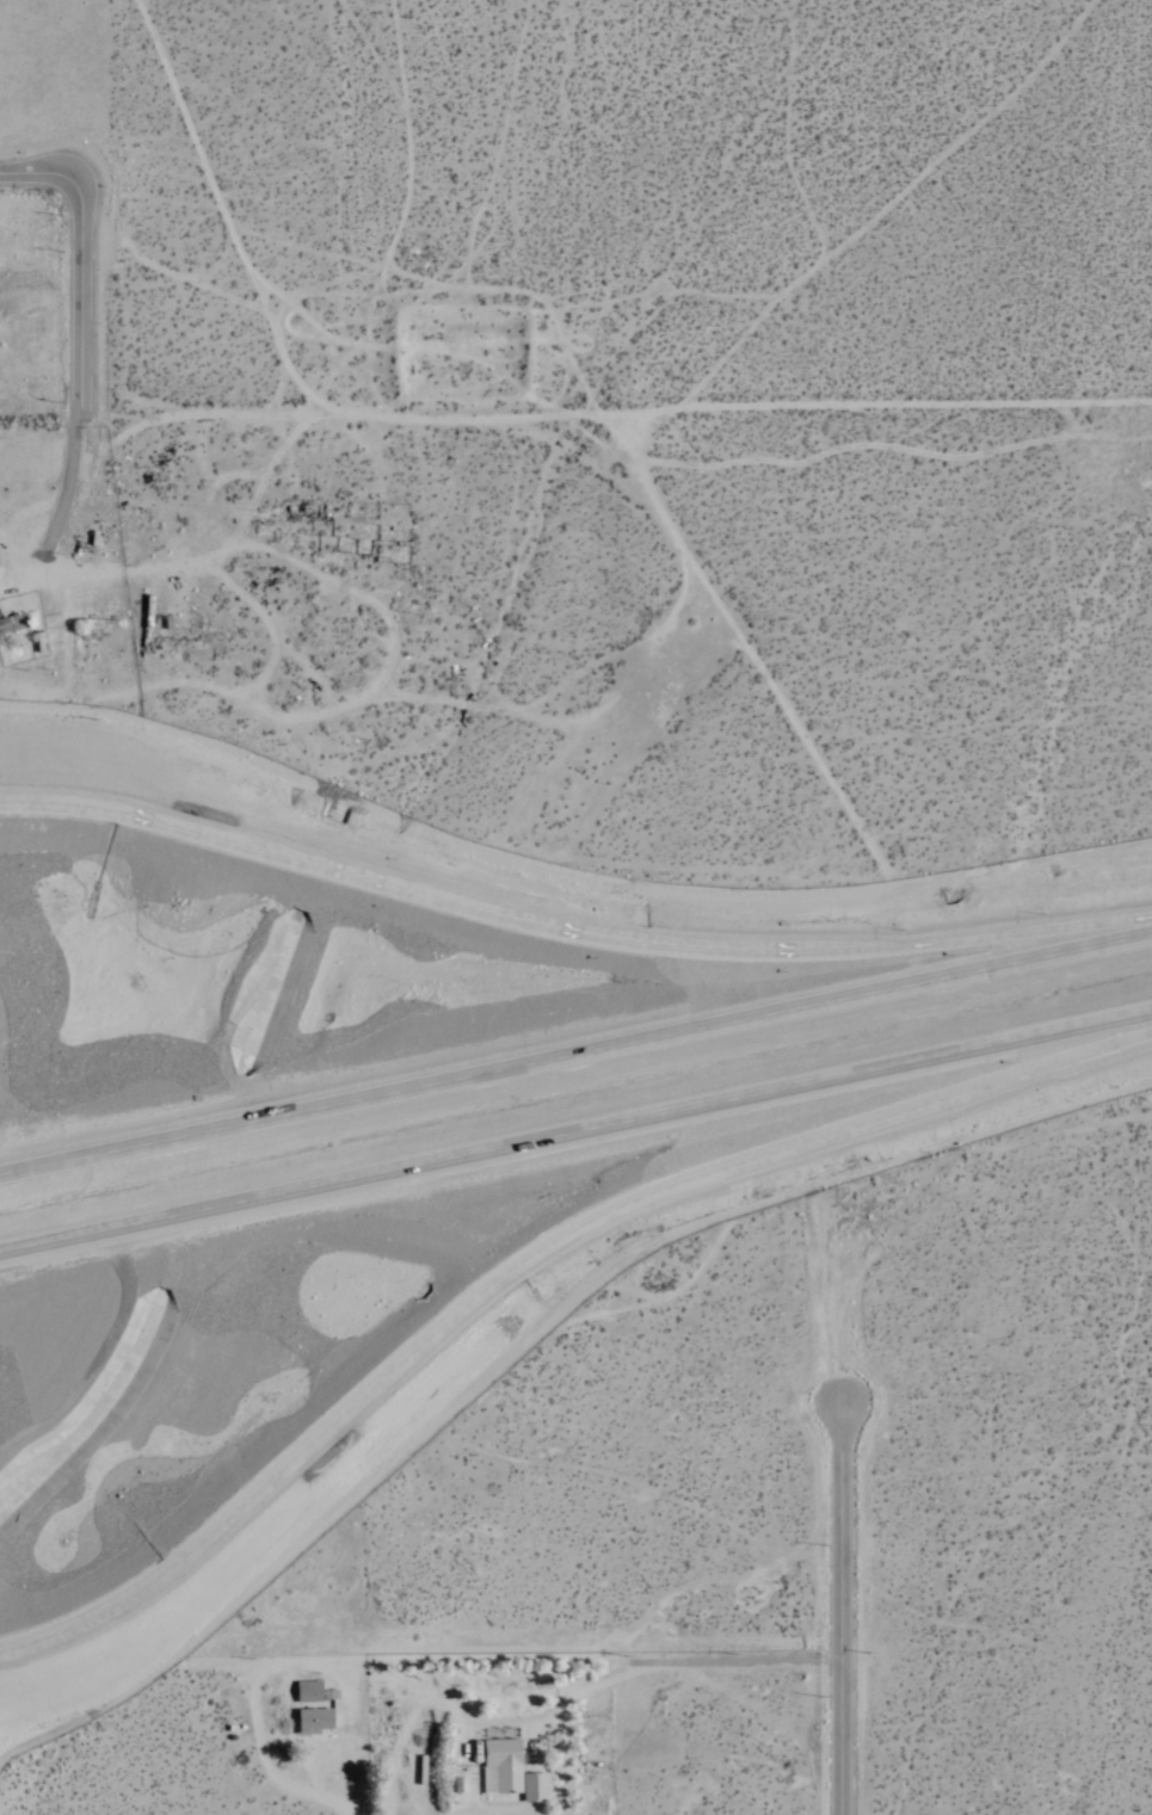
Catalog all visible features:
road: (38, 172)
road: (81, 290)
road: (69, 474)
building: (8, 625)
road: (569, 928)
road: (575, 1052)
road: (578, 1132)
road: (1, 1251)
road: (526, 1258)
road: (839, 1611)
road: (688, 1661)
building: (307, 1692)
building: (312, 1722)
building: (511, 1771)

